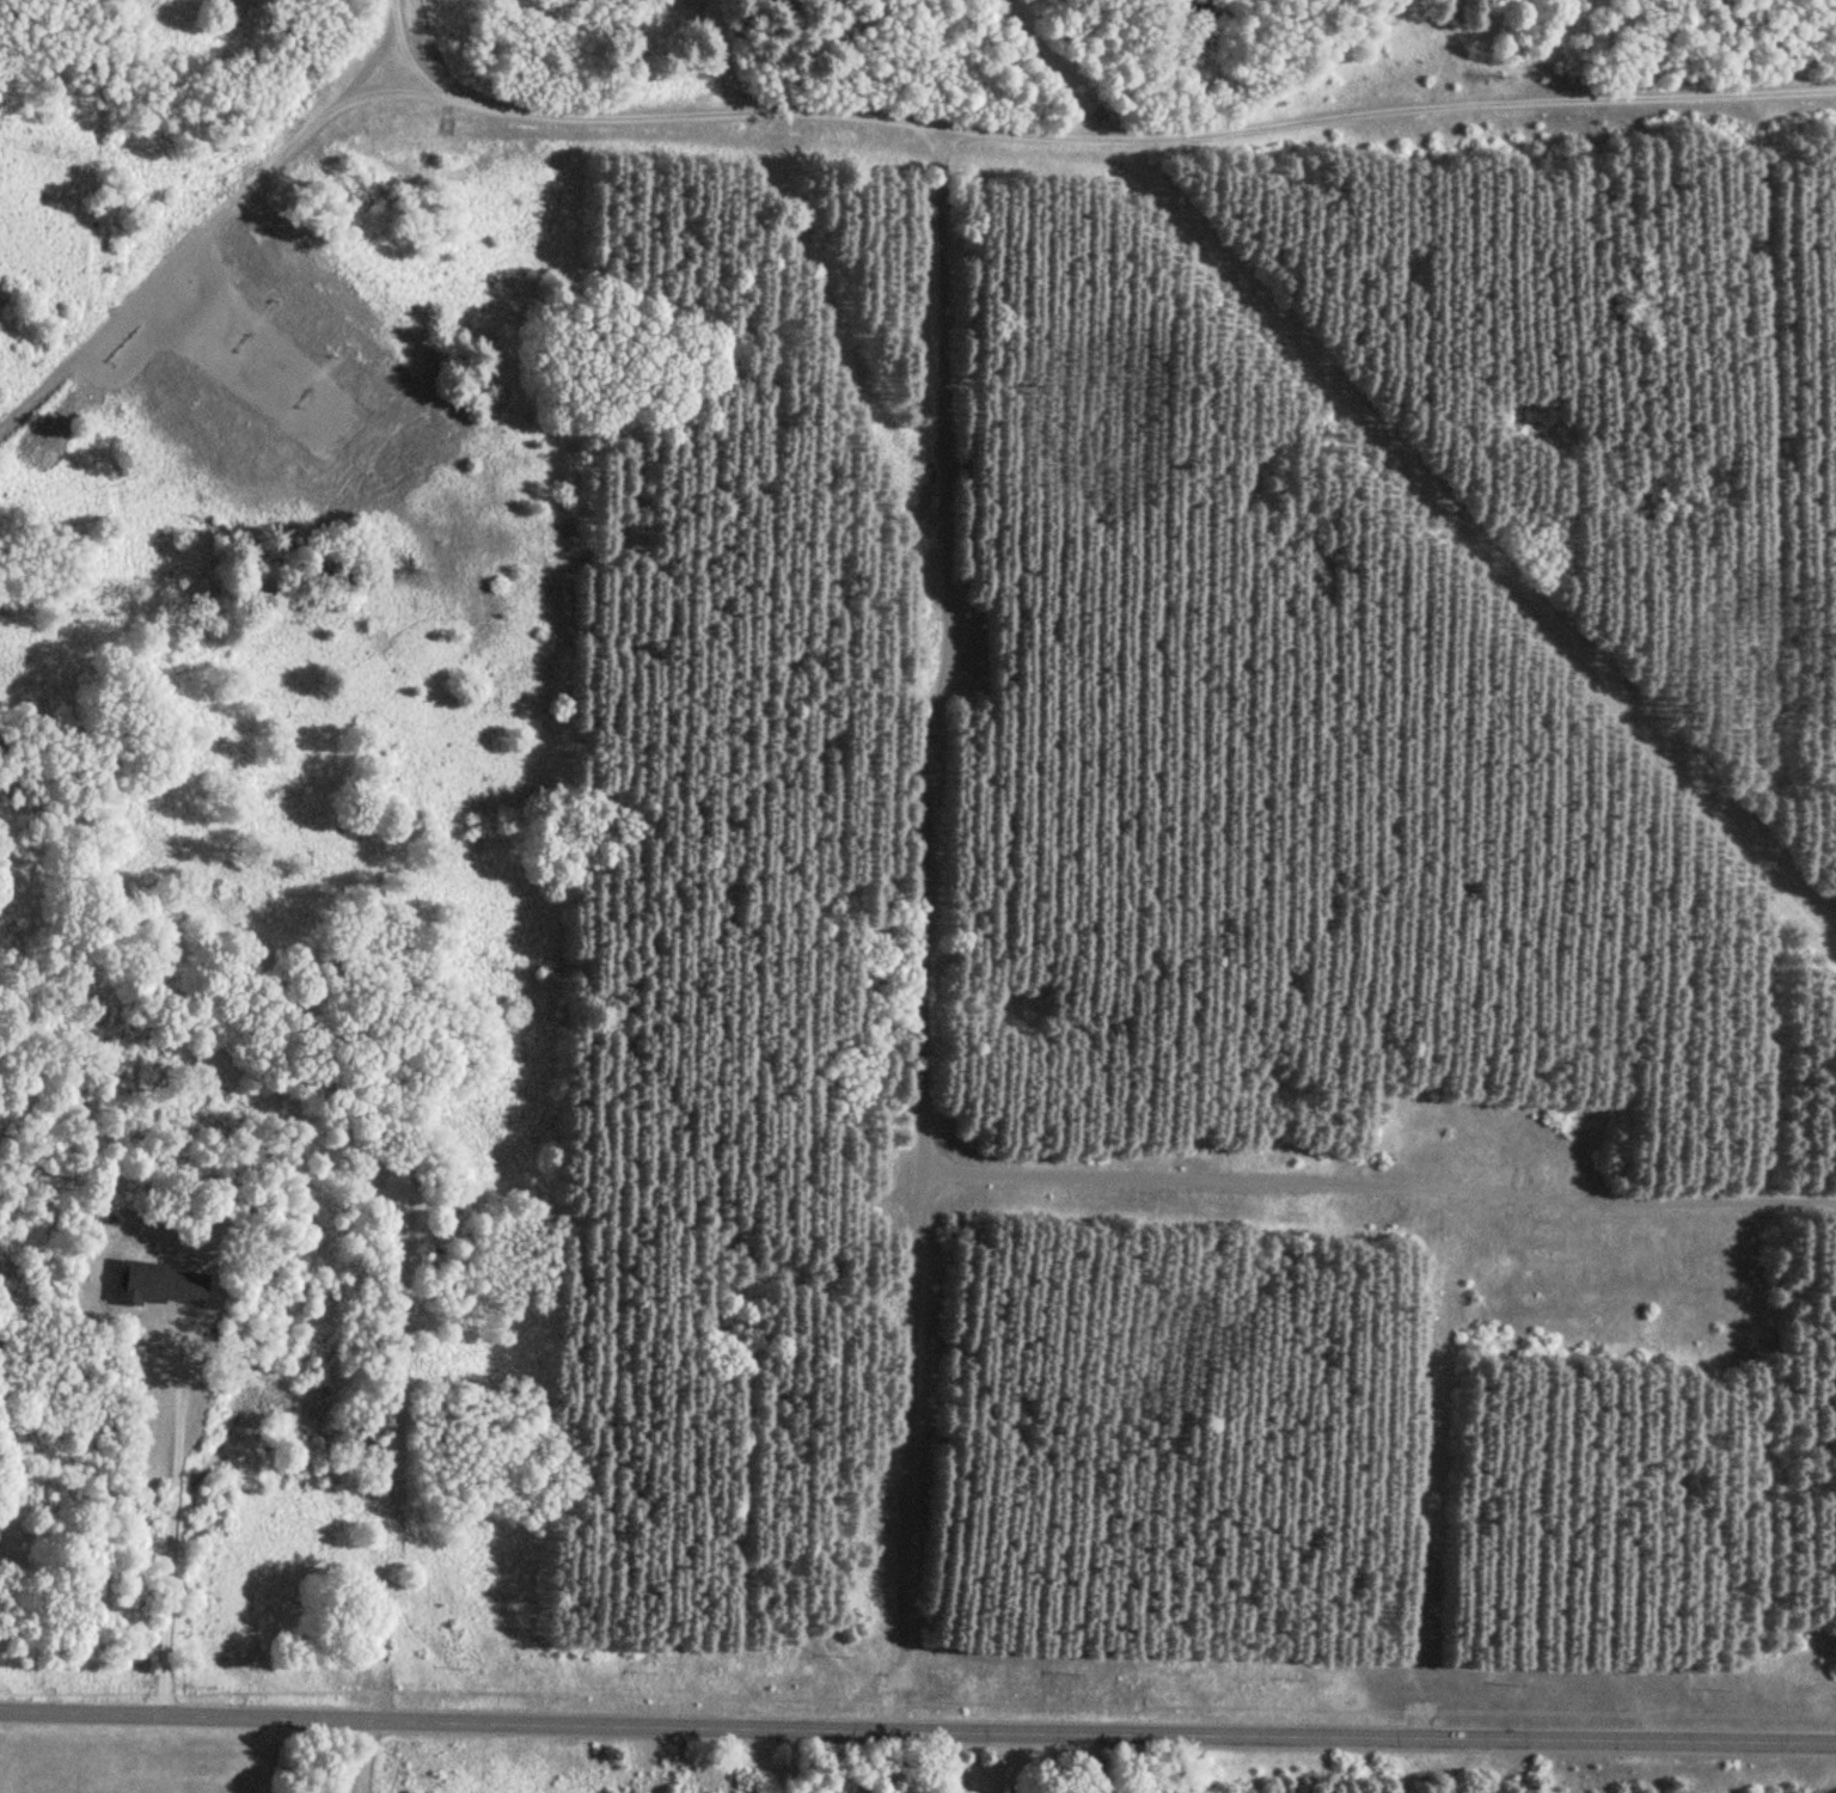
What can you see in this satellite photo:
road: (1051, 134)
road: (178, 237)
road: (892, 928)
road: (357, 1168)
road: (1357, 1206)
building: (158, 1286)
road: (1388, 1476)
road: (169, 1526)
road: (917, 1730)
road: (359, 1757)

